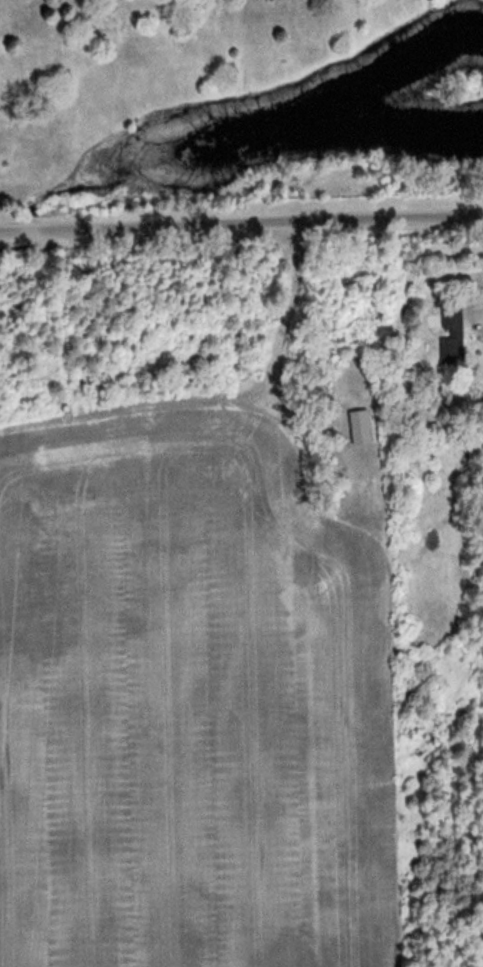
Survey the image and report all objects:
road: (241, 217)
building: (455, 333)
building: (363, 427)

